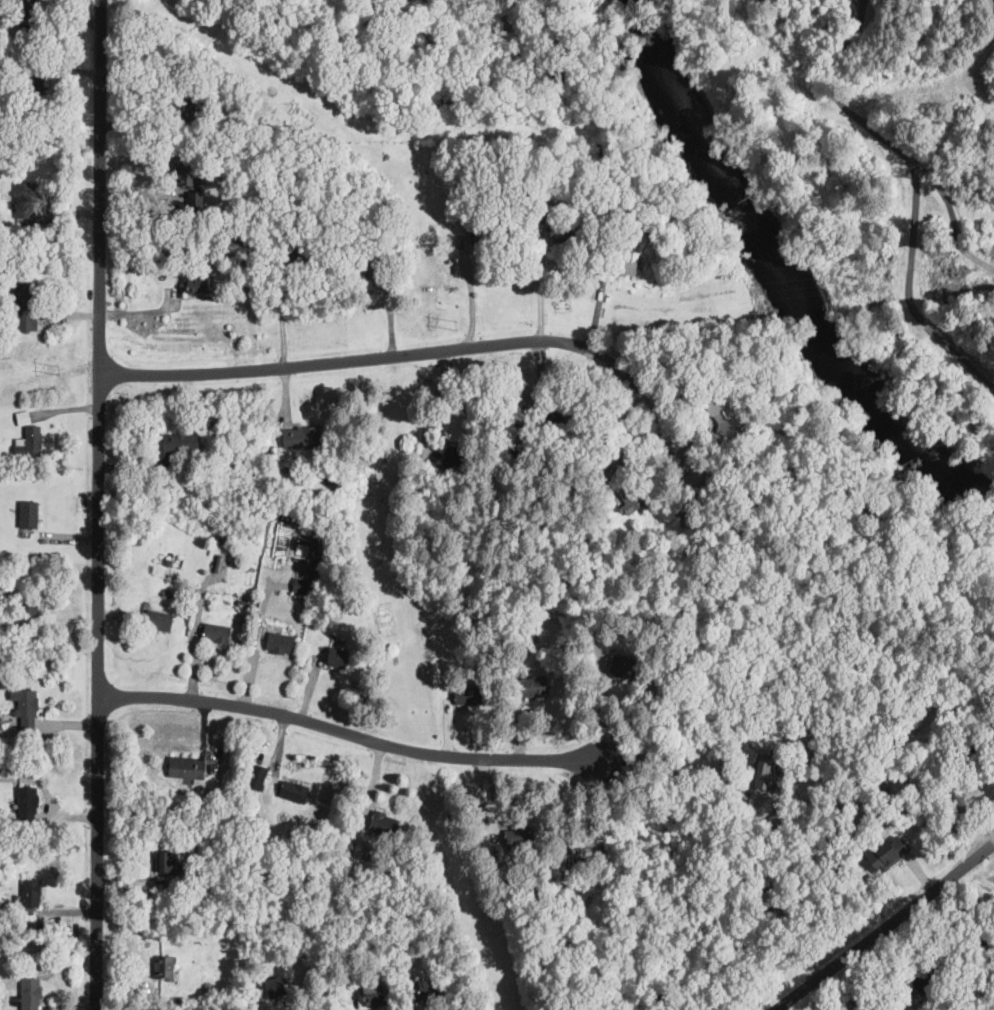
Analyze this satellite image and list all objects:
building: (239, 0)
road: (860, 5)
road: (865, 5)
building: (27, 6)
building: (1, 17)
building: (34, 85)
road: (837, 97)
building: (187, 109)
building: (241, 135)
building: (239, 173)
building: (186, 174)
building: (546, 189)
building: (529, 192)
park: (844, 193)
building: (546, 197)
building: (24, 199)
building: (196, 201)
building: (378, 202)
building: (407, 215)
road: (951, 216)
building: (639, 220)
building: (145, 223)
building: (554, 225)
building: (34, 227)
building: (614, 230)
building: (57, 234)
building: (330, 234)
building: (487, 234)
building: (244, 238)
road: (912, 244)
building: (247, 257)
building: (296, 258)
building: (622, 262)
building: (371, 267)
power tower: (856, 278)
building: (196, 283)
road: (539, 293)
road: (470, 298)
building: (25, 307)
power tower: (455, 325)
road: (419, 353)
road: (961, 354)
power tower: (57, 369)
building: (552, 413)
building: (724, 414)
building: (23, 418)
road: (624, 432)
building: (301, 436)
building: (181, 441)
building: (30, 443)
building: (454, 456)
building: (335, 474)
building: (174, 479)
building: (574, 492)
building: (631, 499)
road: (98, 504)
building: (451, 509)
building: (29, 513)
building: (388, 553)
building: (307, 560)
building: (169, 561)
park: (957, 581)
building: (301, 583)
building: (241, 604)
building: (29, 608)
building: (325, 616)
building: (159, 621)
building: (639, 625)
building: (217, 633)
building: (280, 642)
building: (515, 648)
building: (340, 657)
building: (624, 665)
building: (534, 686)
building: (468, 695)
building: (26, 706)
road: (601, 710)
road: (349, 733)
building: (968, 759)
building: (186, 767)
road: (675, 767)
building: (764, 770)
building: (925, 773)
building: (258, 774)
building: (880, 788)
building: (294, 791)
building: (27, 804)
building: (204, 804)
road: (568, 811)
building: (779, 814)
building: (384, 823)
building: (372, 833)
building: (519, 836)
building: (589, 846)
building: (347, 850)
building: (887, 852)
building: (167, 862)
building: (565, 879)
building: (766, 882)
building: (513, 883)
building: (617, 883)
building: (31, 893)
building: (771, 908)
building: (415, 912)
building: (943, 913)
building: (960, 922)
road: (881, 926)
building: (945, 931)
building: (979, 938)
building: (165, 968)
building: (930, 974)
building: (208, 987)
building: (276, 987)
building: (433, 989)
building: (31, 993)
building: (373, 994)
building: (856, 994)
building: (890, 995)
building: (899, 996)
road: (267, 1006)
building: (948, 1009)

